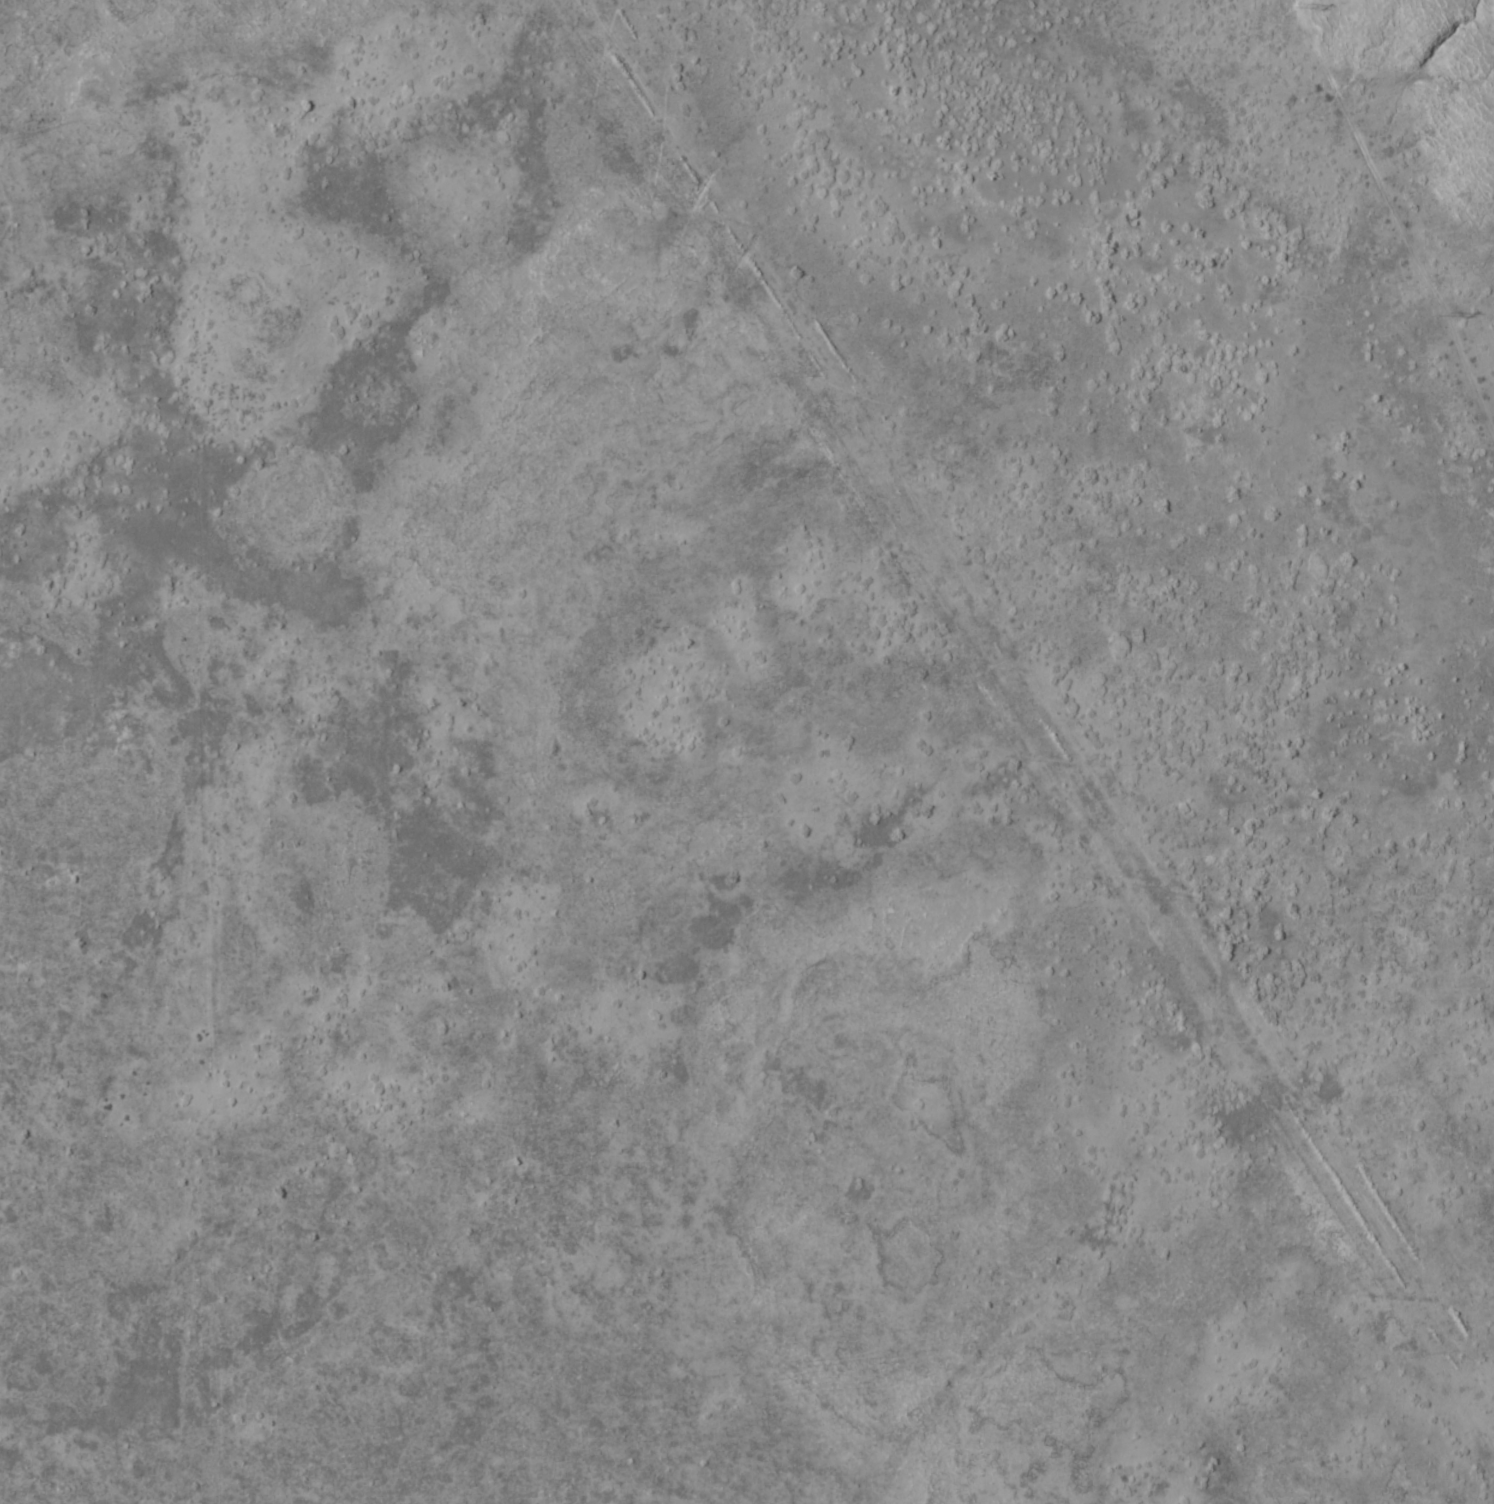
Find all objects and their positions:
power tower: (1294, 2)
power tower: (1438, 310)

